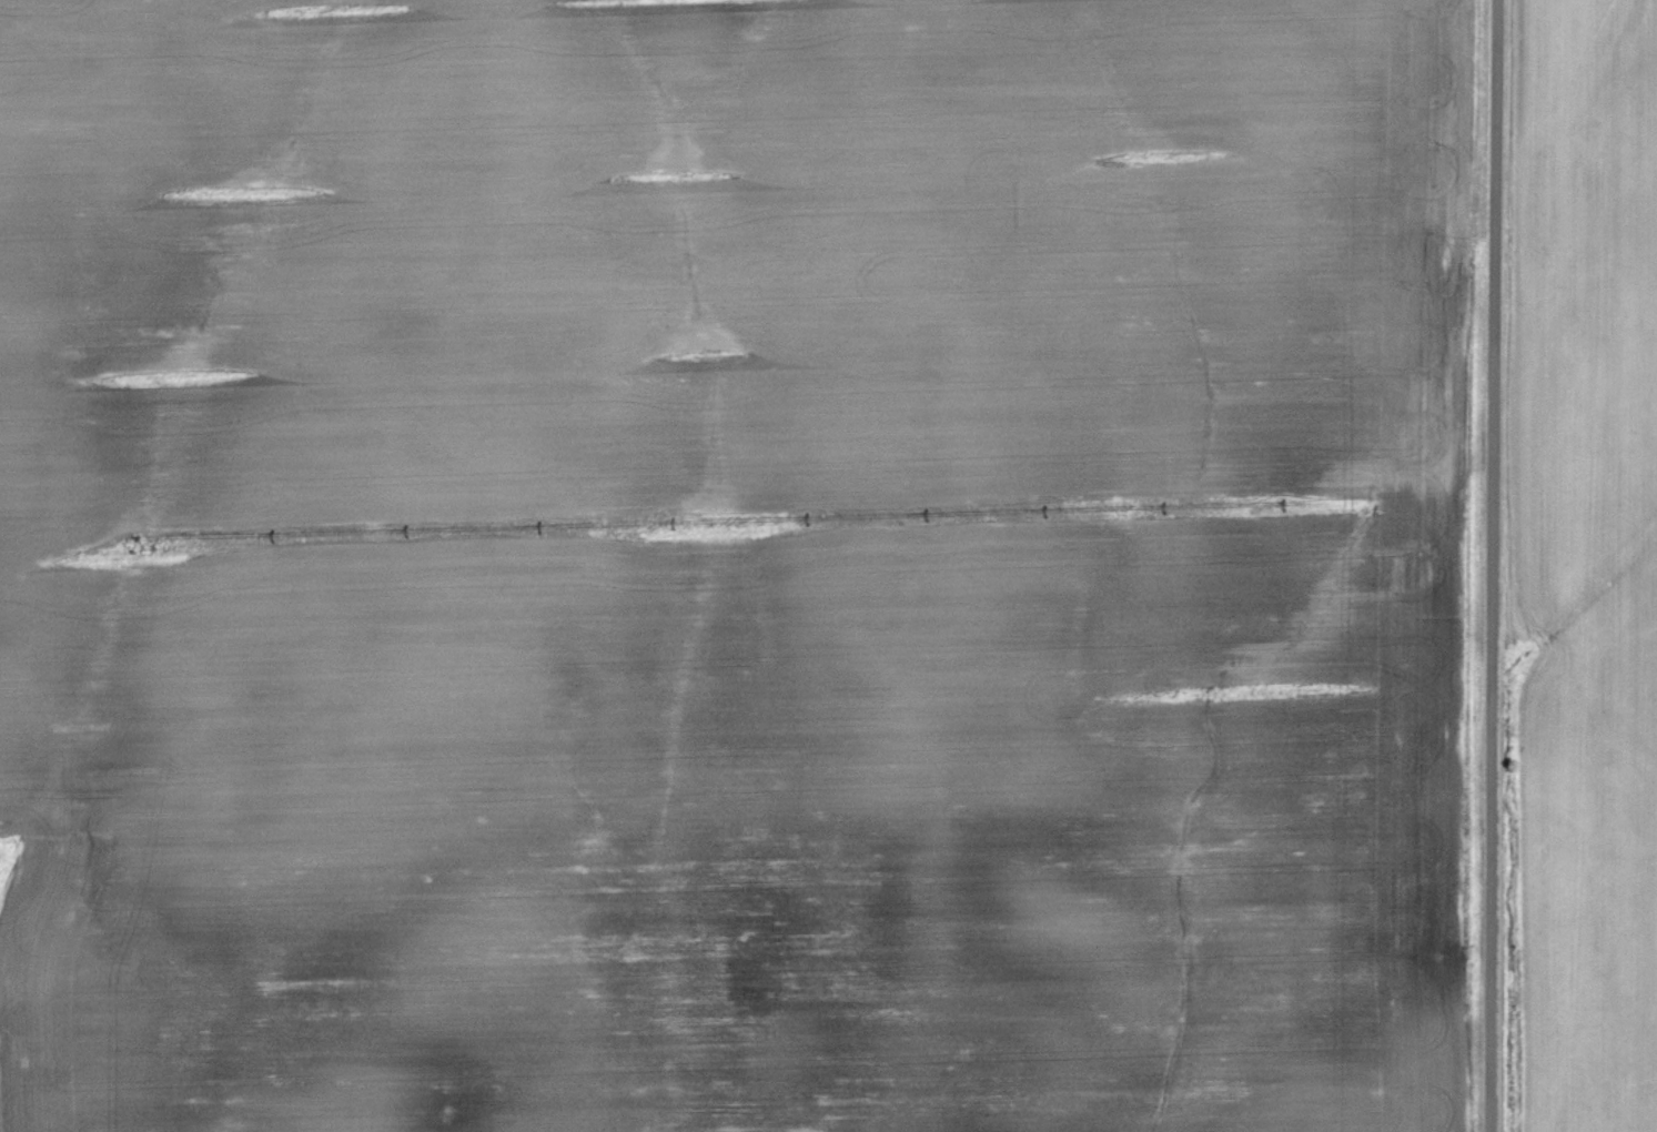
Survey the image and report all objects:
road: (1492, 565)

